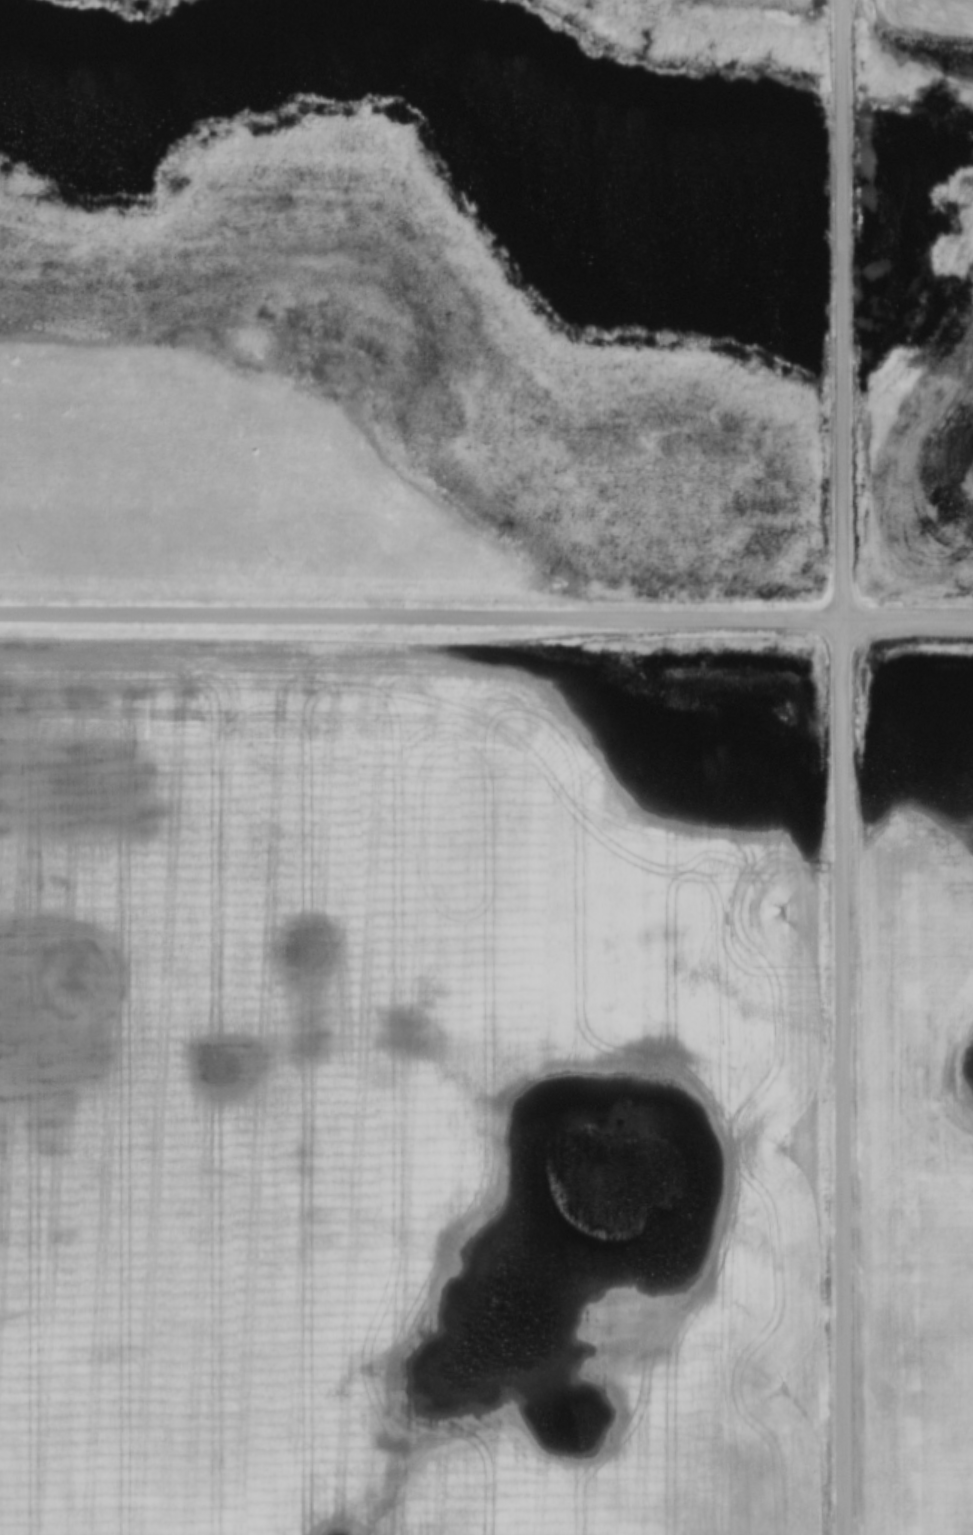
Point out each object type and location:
road: (486, 618)
road: (840, 767)

